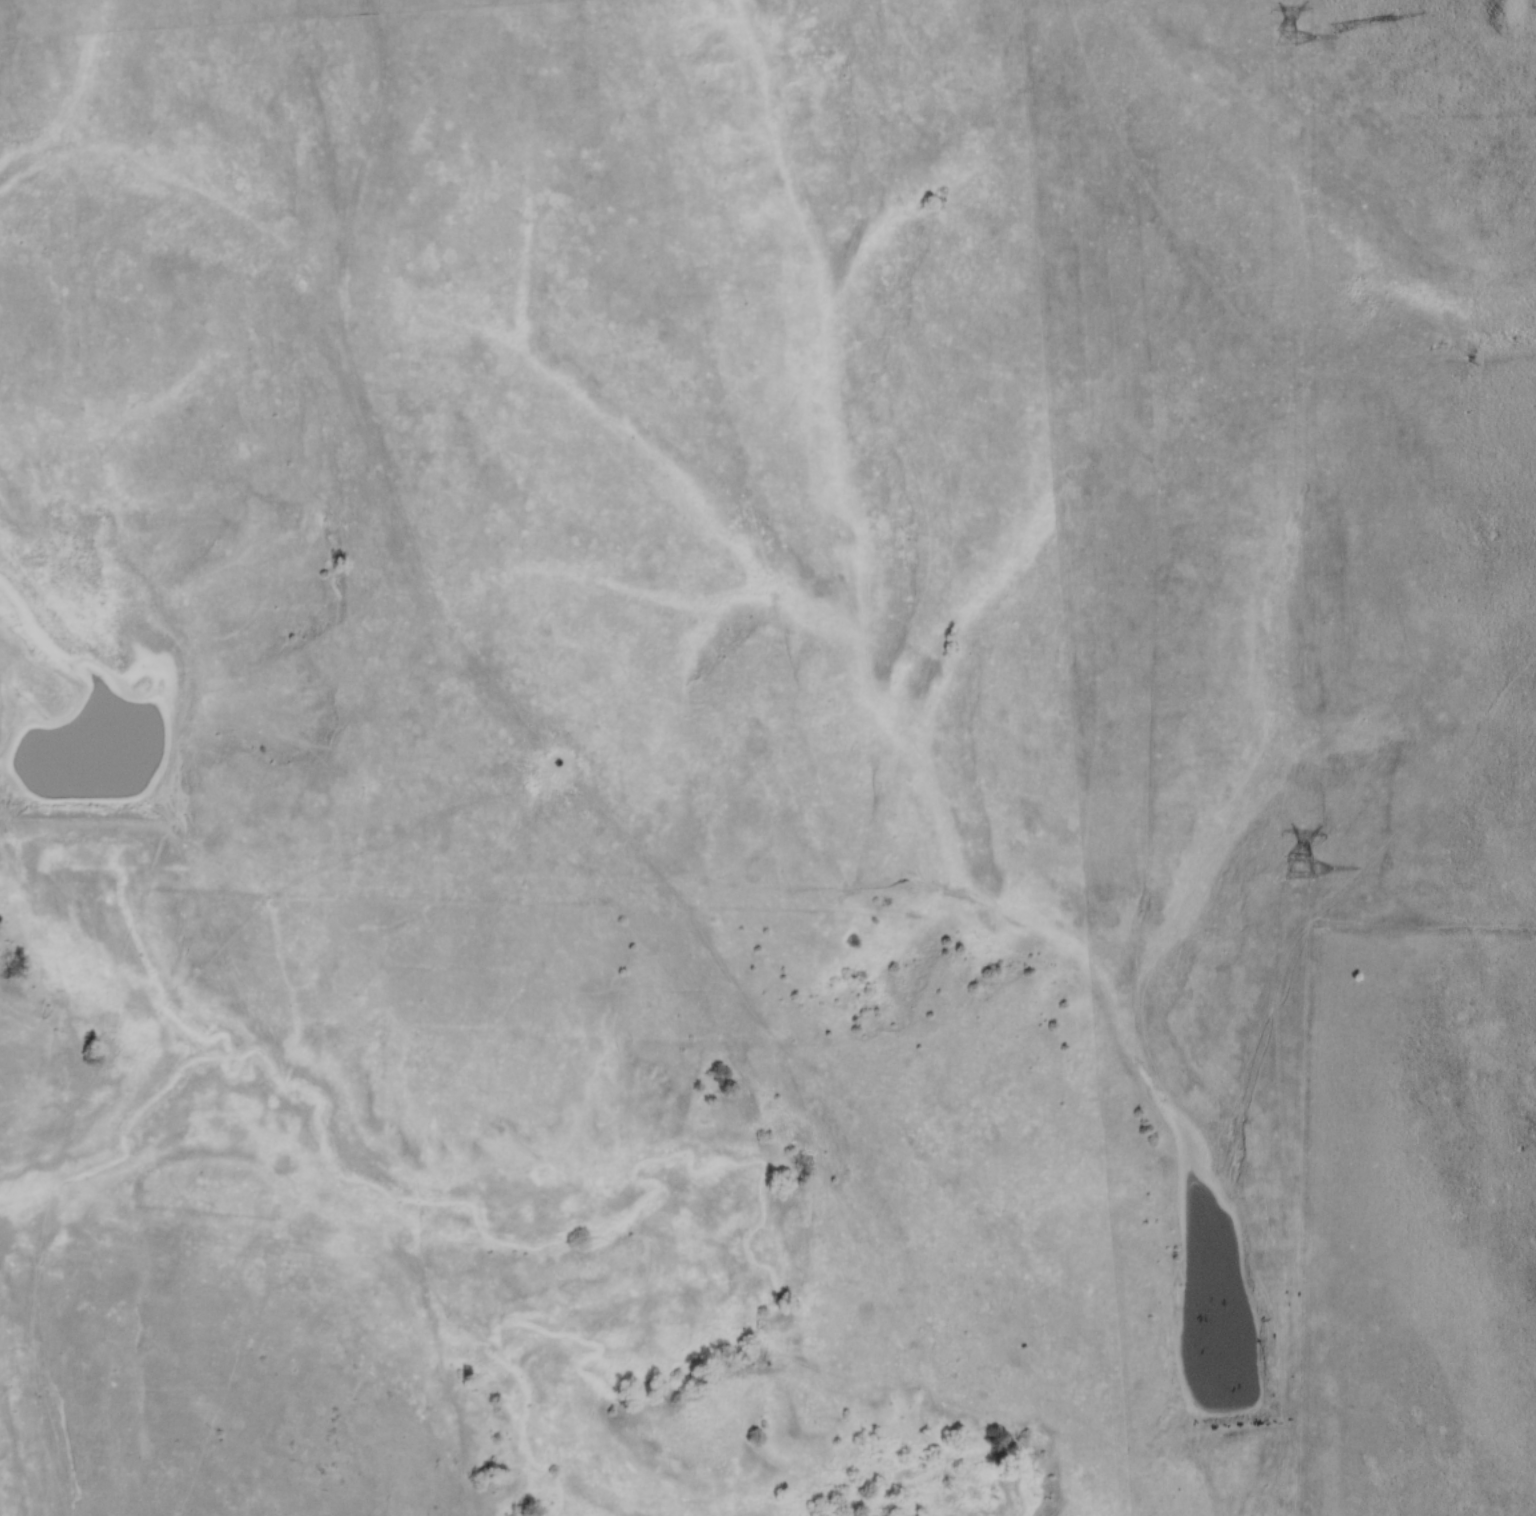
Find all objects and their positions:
power tower: (1287, 40)
power tower: (1299, 869)

